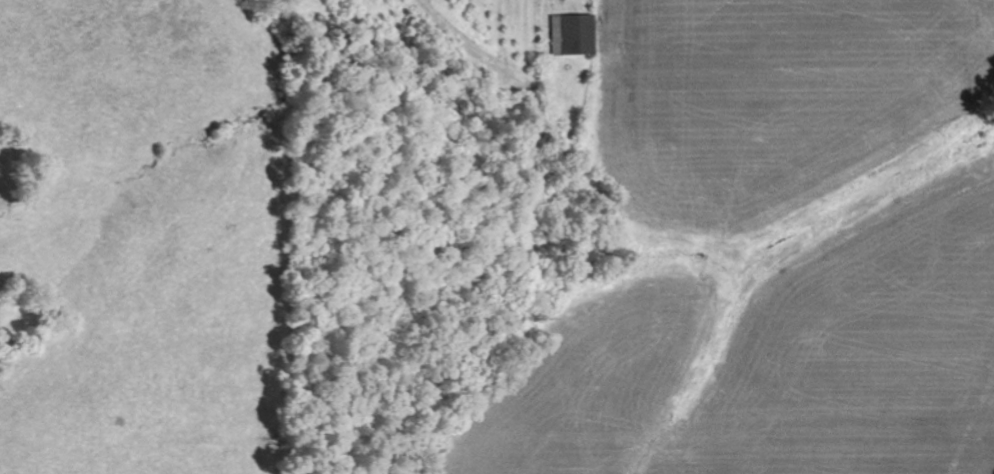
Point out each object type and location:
building: (570, 35)

